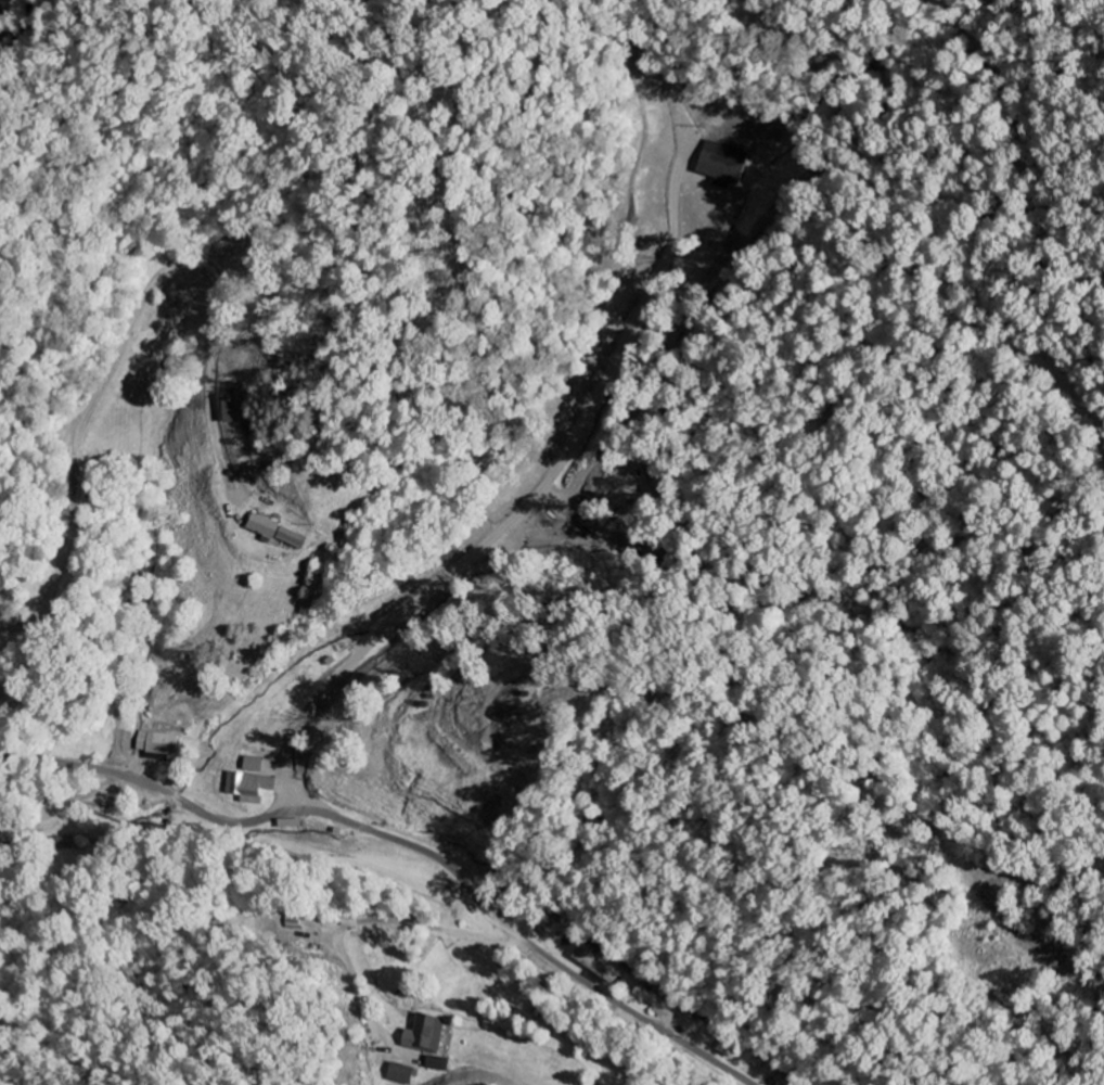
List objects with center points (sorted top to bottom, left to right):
building: (717, 168)
building: (223, 409)
building: (274, 532)
building: (153, 744)
building: (246, 782)
road: (407, 845)
building: (426, 1034)
building: (397, 1074)

